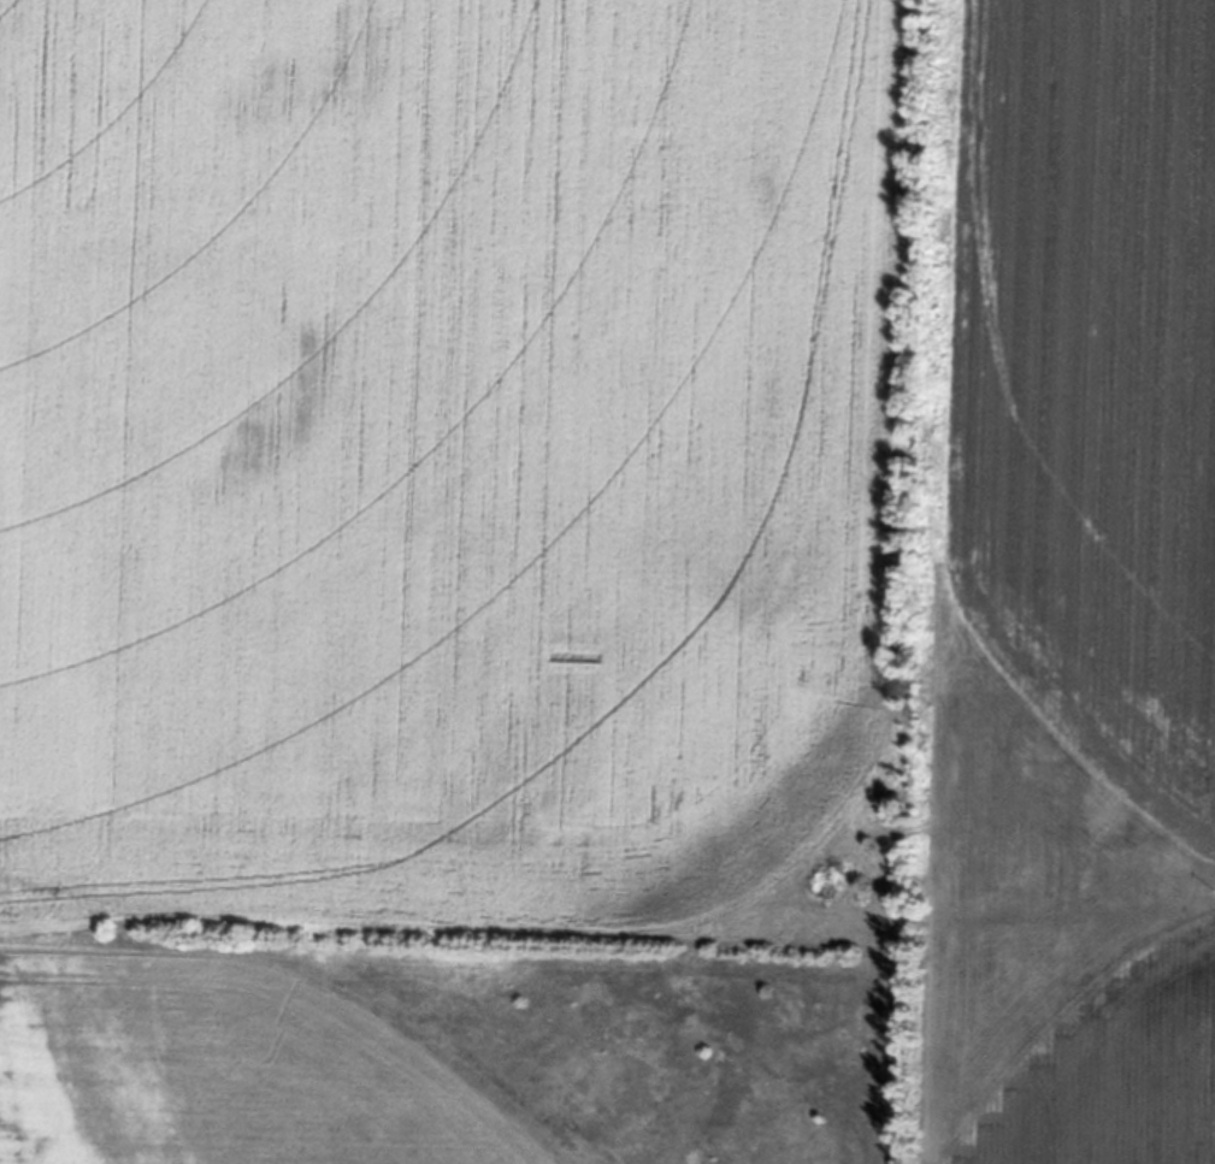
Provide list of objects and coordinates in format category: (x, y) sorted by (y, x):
crop: (607, 581)

